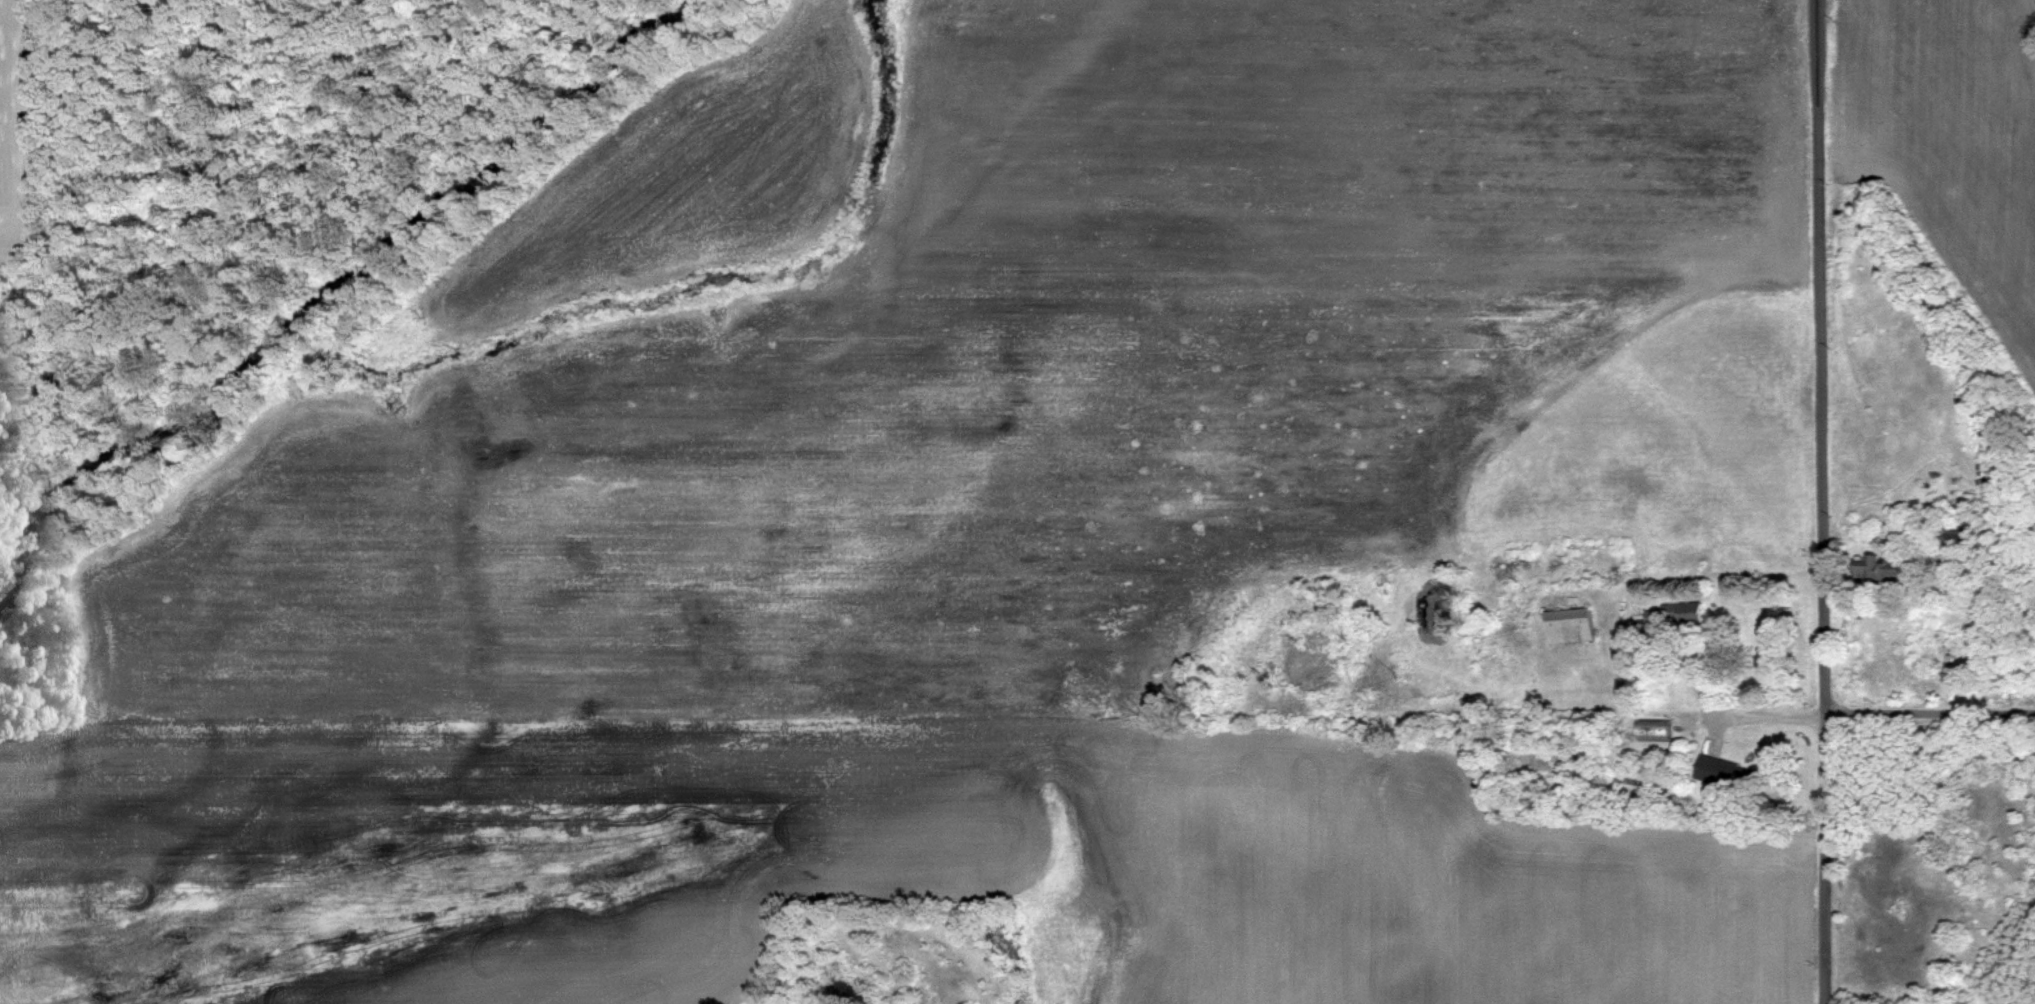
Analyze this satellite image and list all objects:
road: (1825, 501)
building: (1963, 535)
building: (1880, 569)
building: (1680, 615)
building: (1574, 626)
road: (1931, 711)
road: (1726, 716)
building: (1658, 731)
building: (1731, 776)

